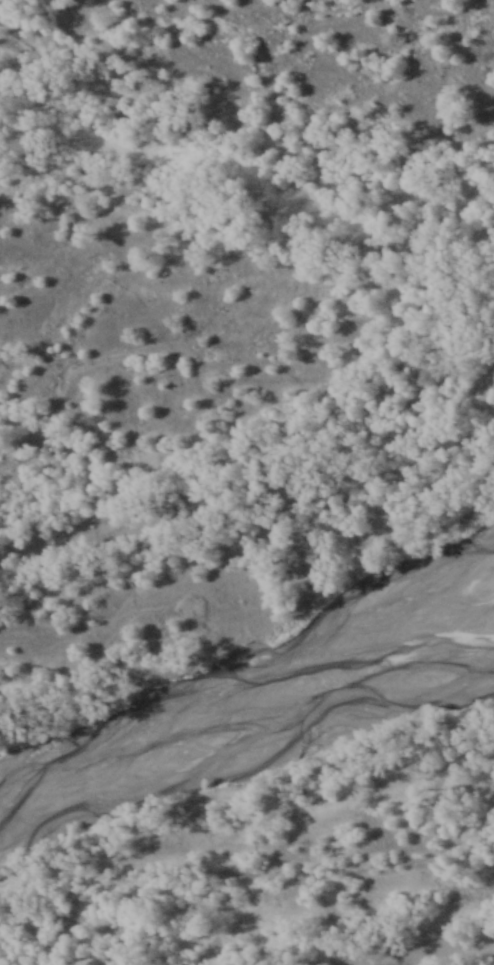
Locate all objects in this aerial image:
river: (236, 691)

